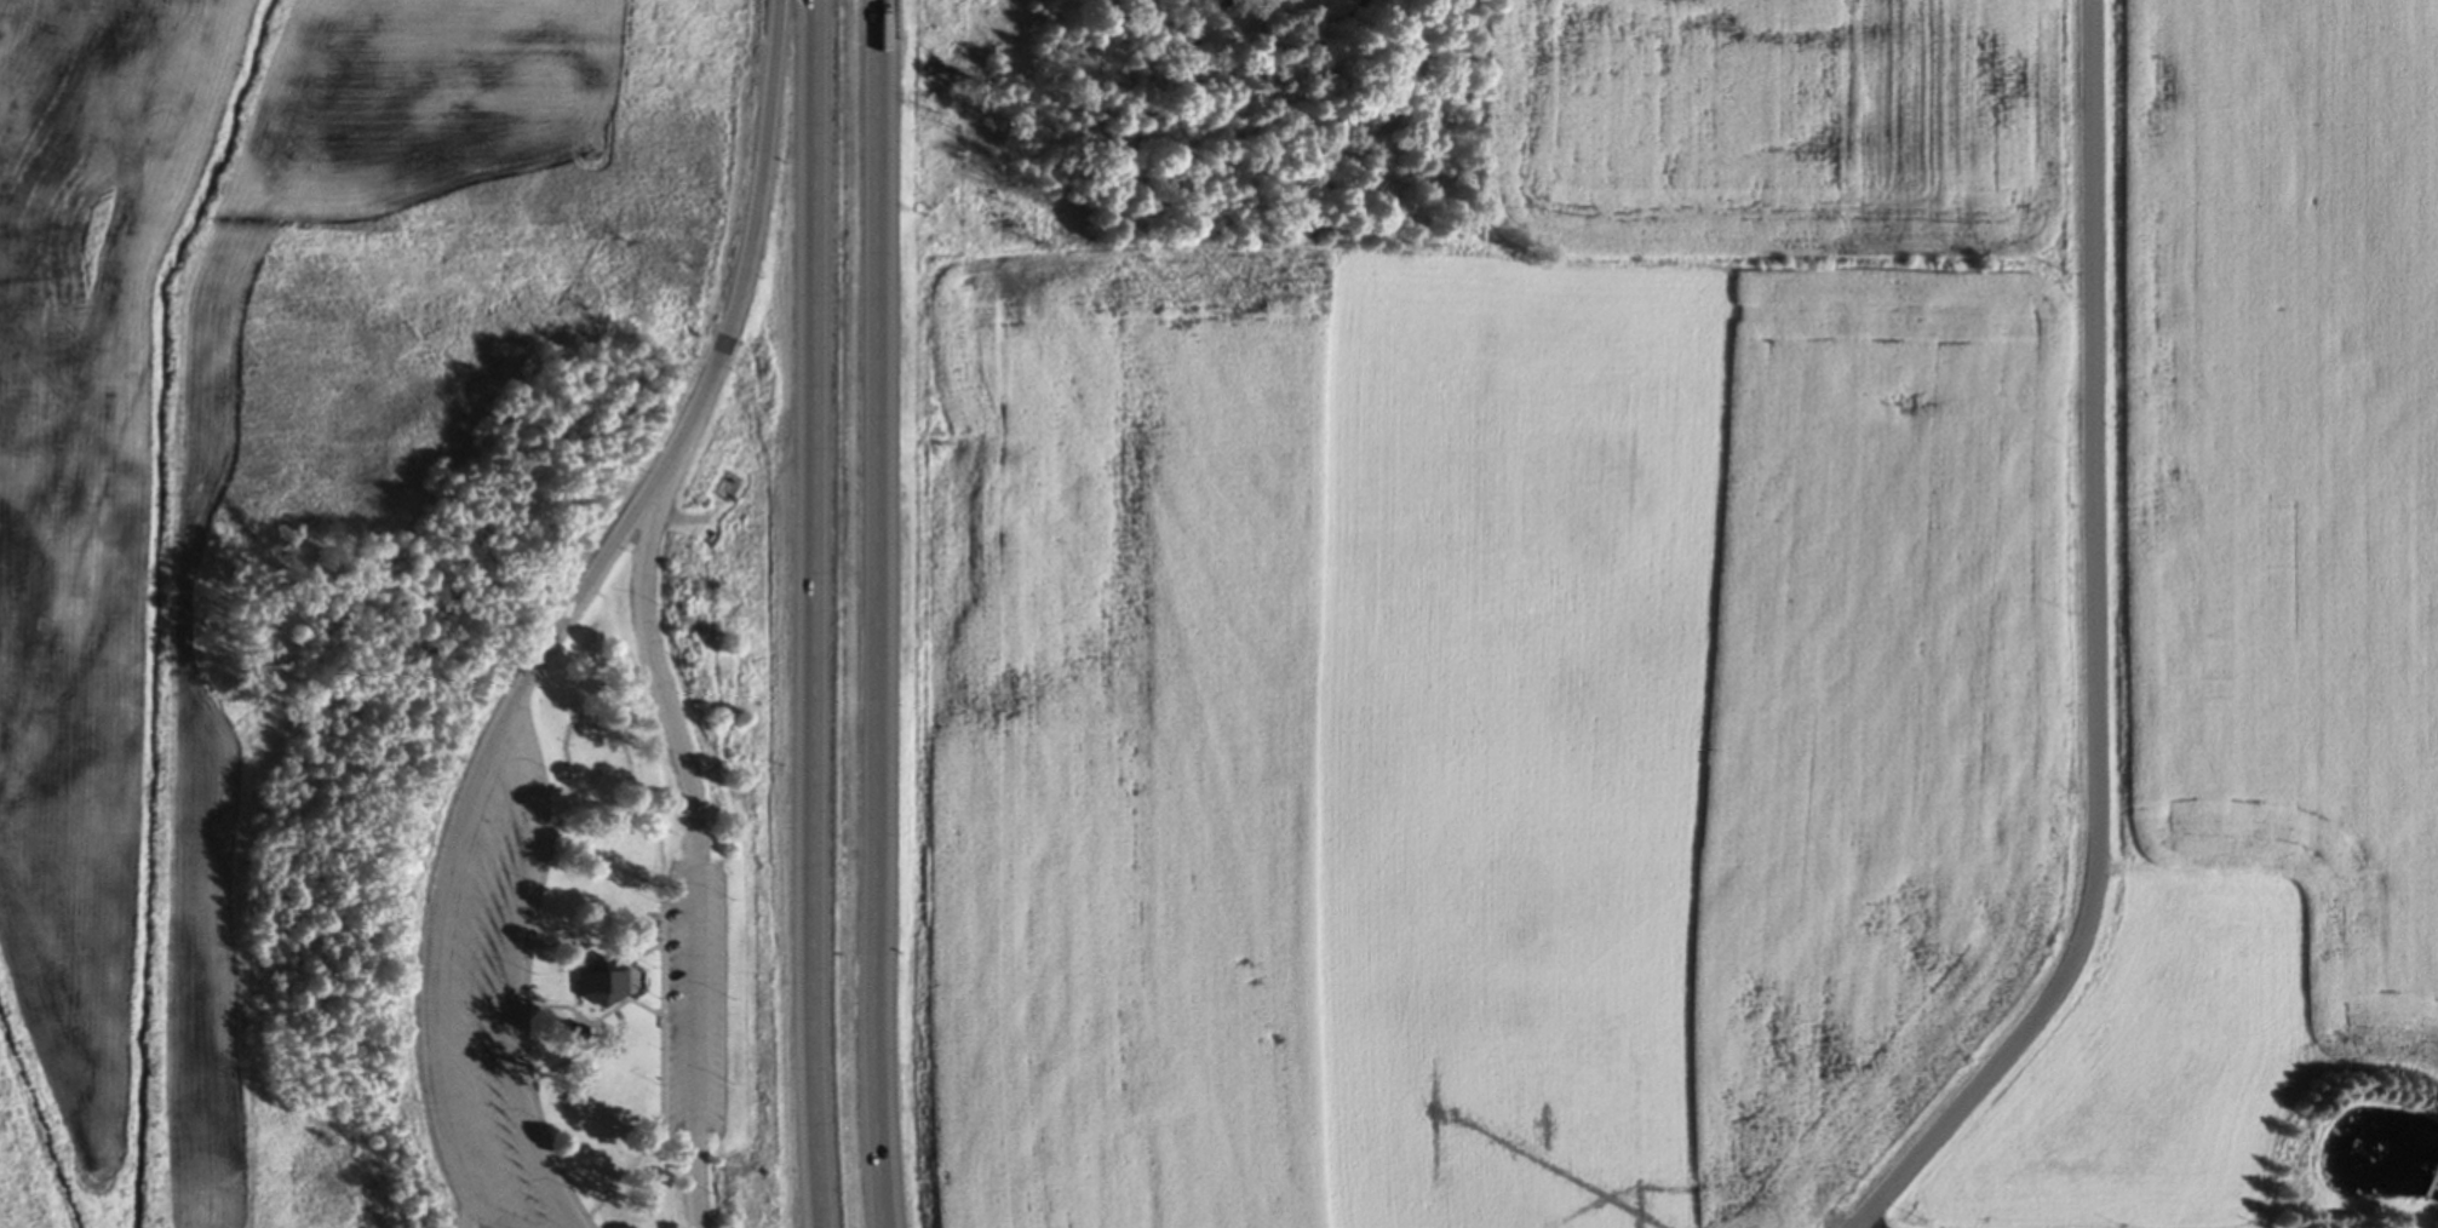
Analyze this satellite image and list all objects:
road: (758, 231)
road: (598, 573)
road: (814, 614)
road: (872, 614)
road: (2100, 654)
road: (656, 655)
road: (515, 976)
road: (432, 977)
building: (597, 985)
parking lot: (491, 987)
road: (698, 992)
parking lot: (695, 997)
building: (586, 1039)
road: (699, 1175)
road: (470, 1210)
road: (1866, 1226)

